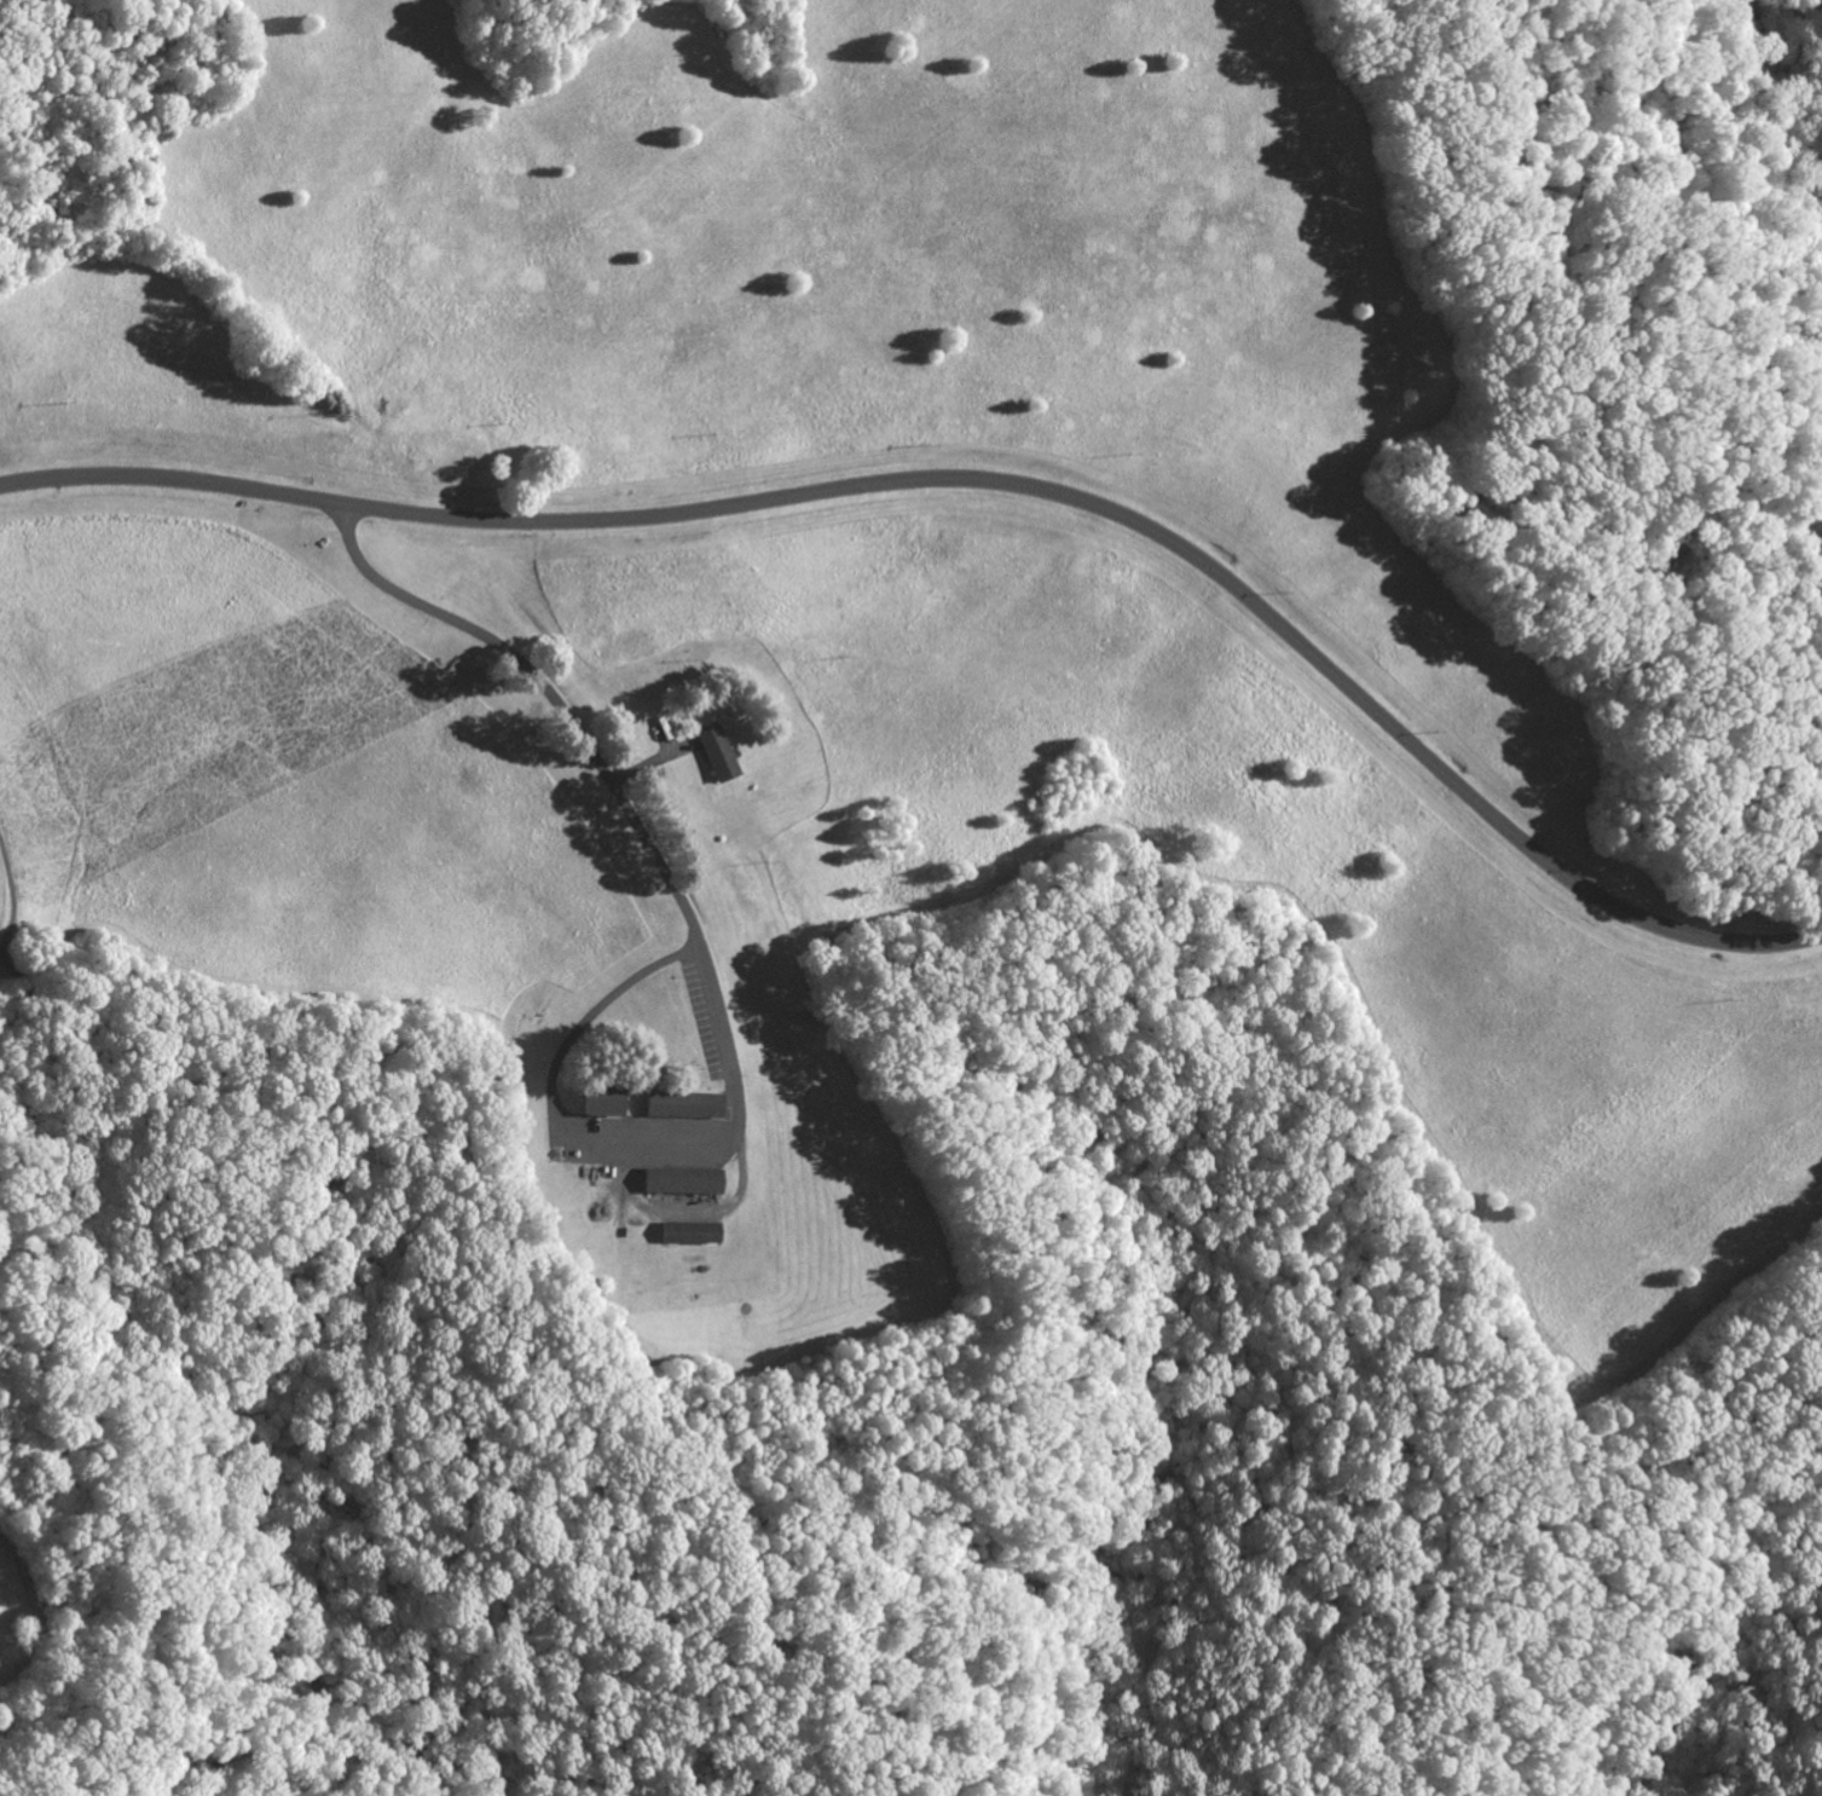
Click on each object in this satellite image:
road: (983, 481)
road: (551, 694)
building: (717, 752)
park: (910, 897)
building: (601, 1102)
building: (683, 1104)
road: (661, 1143)
building: (681, 1180)
building: (689, 1231)

